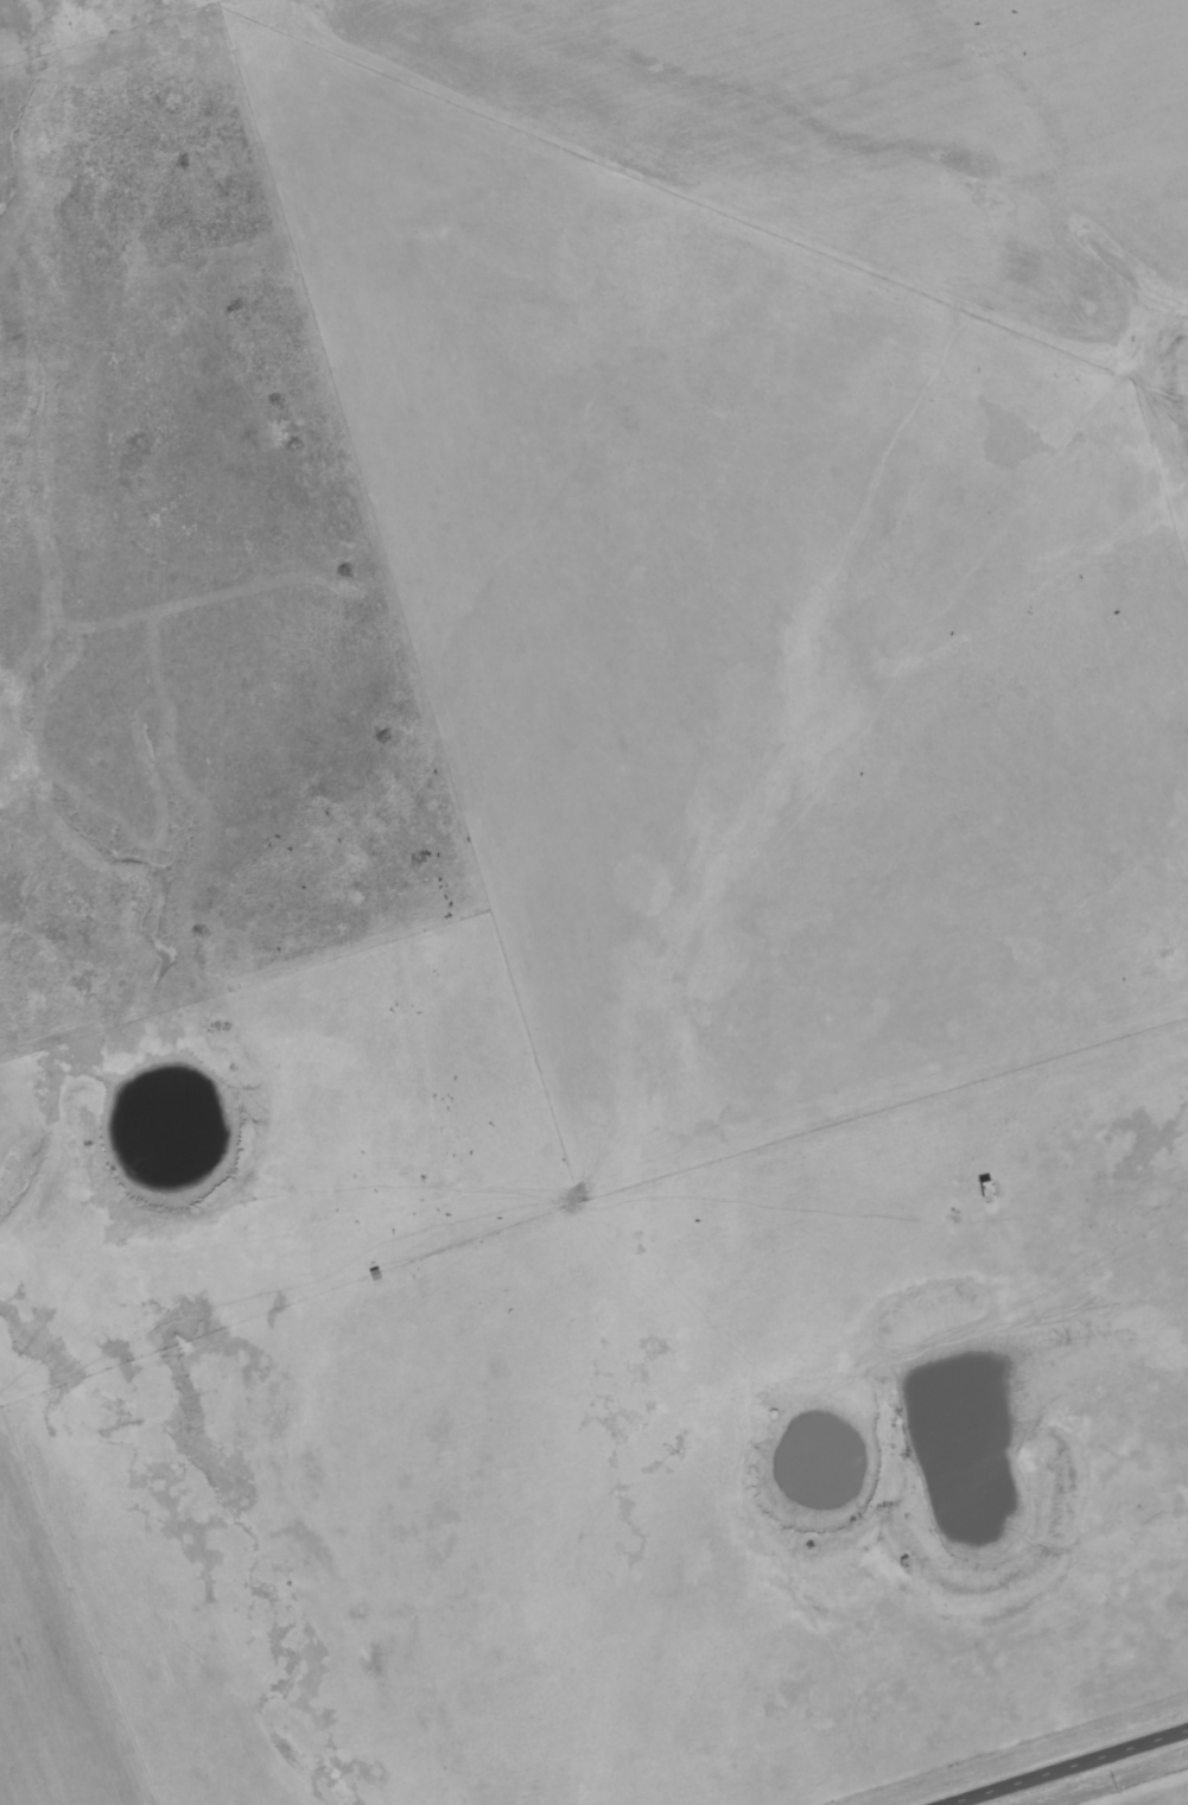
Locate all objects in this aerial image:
road: (1061, 1766)

